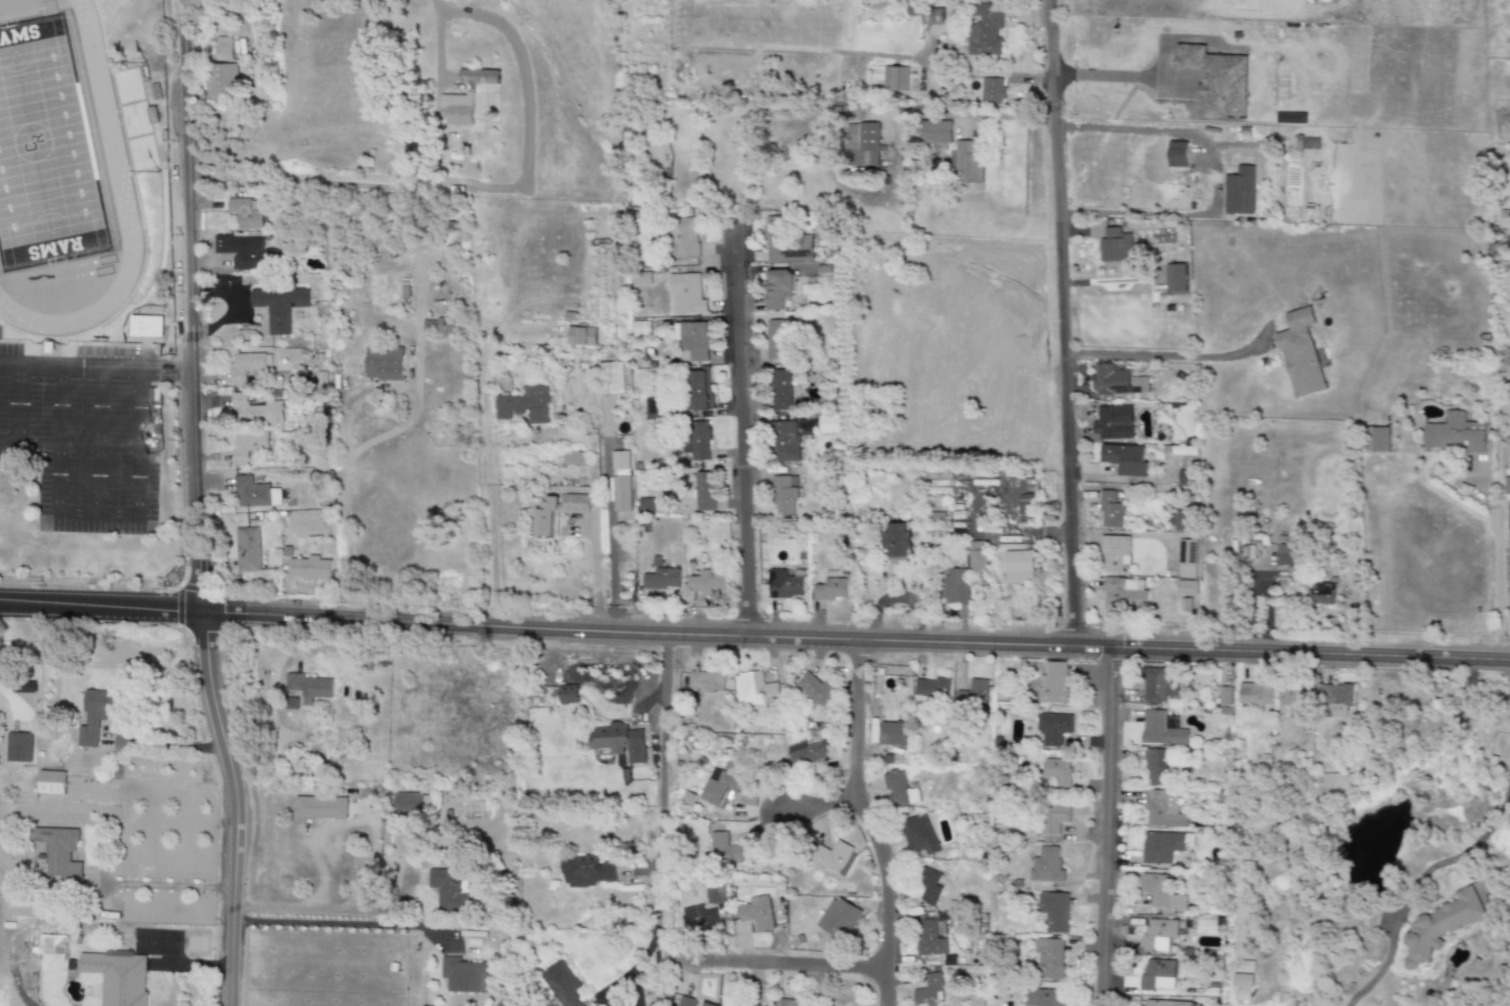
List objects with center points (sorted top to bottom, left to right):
building: (932, 17)
building: (985, 30)
building: (221, 49)
building: (479, 77)
building: (218, 79)
building: (894, 79)
building: (991, 90)
building: (457, 109)
track: (107, 127)
building: (935, 132)
building: (867, 146)
park: (43, 151)
building: (1177, 155)
building: (968, 166)
building: (1240, 191)
road: (1134, 213)
building: (244, 214)
building: (682, 238)
building: (784, 243)
building: (1115, 246)
building: (247, 253)
building: (1175, 277)
building: (641, 280)
building: (777, 289)
building: (685, 295)
road: (186, 303)
building: (278, 307)
road: (1063, 323)
building: (640, 329)
building: (581, 335)
building: (776, 339)
building: (692, 341)
building: (1300, 354)
road: (1168, 356)
building: (383, 364)
building: (244, 366)
road: (94, 367)
building: (614, 378)
building: (1116, 381)
road: (404, 387)
building: (780, 388)
building: (698, 389)
road: (18, 403)
building: (523, 405)
building: (255, 411)
building: (1113, 423)
road: (741, 424)
building: (829, 424)
road: (345, 428)
building: (1454, 434)
building: (1379, 439)
road: (99, 441)
road: (513, 441)
building: (699, 441)
building: (783, 442)
road: (106, 445)
building: (247, 446)
building: (1178, 450)
building: (574, 458)
building: (1124, 459)
building: (620, 460)
building: (1186, 477)
road: (489, 487)
building: (704, 491)
building: (254, 493)
building: (620, 494)
building: (784, 494)
building: (646, 506)
building: (1110, 511)
road: (57, 515)
building: (544, 519)
road: (614, 520)
building: (1182, 521)
road: (969, 529)
road: (1509, 529)
road: (1017, 532)
road: (346, 535)
building: (897, 540)
building: (246, 549)
building: (1114, 553)
building: (1285, 555)
building: (1187, 559)
road: (1496, 565)
building: (1014, 567)
building: (309, 568)
road: (596, 569)
building: (964, 574)
building: (662, 579)
building: (706, 582)
building: (785, 584)
building: (1186, 587)
building: (831, 590)
building: (1124, 593)
building: (1321, 594)
road: (754, 633)
building: (706, 681)
building: (1053, 683)
building: (1158, 685)
building: (308, 687)
building: (932, 688)
building: (758, 689)
building: (813, 689)
building: (567, 694)
building: (1253, 694)
building: (973, 695)
building: (1223, 696)
building: (1293, 700)
building: (1336, 701)
building: (96, 715)
building: (1053, 729)
building: (1160, 730)
building: (892, 734)
building: (618, 741)
road: (167, 745)
building: (18, 747)
building: (807, 753)
building: (1155, 767)
building: (1056, 772)
building: (51, 782)
building: (718, 788)
building: (899, 791)
road: (233, 803)
building: (407, 803)
road: (816, 805)
building: (320, 807)
building: (1162, 810)
building: (1054, 817)
road: (355, 818)
road: (659, 821)
road: (866, 821)
road: (1104, 827)
building: (919, 835)
building: (1163, 846)
building: (724, 850)
building: (60, 853)
building: (835, 858)
building: (1046, 865)
building: (586, 872)
road: (1416, 878)
road: (166, 885)
building: (929, 887)
building: (448, 890)
building: (714, 893)
building: (1160, 893)
road: (323, 909)
building: (1054, 911)
building: (756, 913)
building: (697, 918)
building: (838, 918)
road: (337, 923)
building: (1439, 926)
building: (1157, 934)
building: (929, 939)
building: (51, 949)
building: (1049, 959)
road: (774, 960)
building: (1153, 973)
building: (463, 976)
building: (118, 977)
building: (1242, 981)
building: (561, 984)
building: (929, 991)
building: (1043, 998)
building: (686, 1001)
building: (783, 1002)
building: (1165, 1003)
building: (705, 1004)

